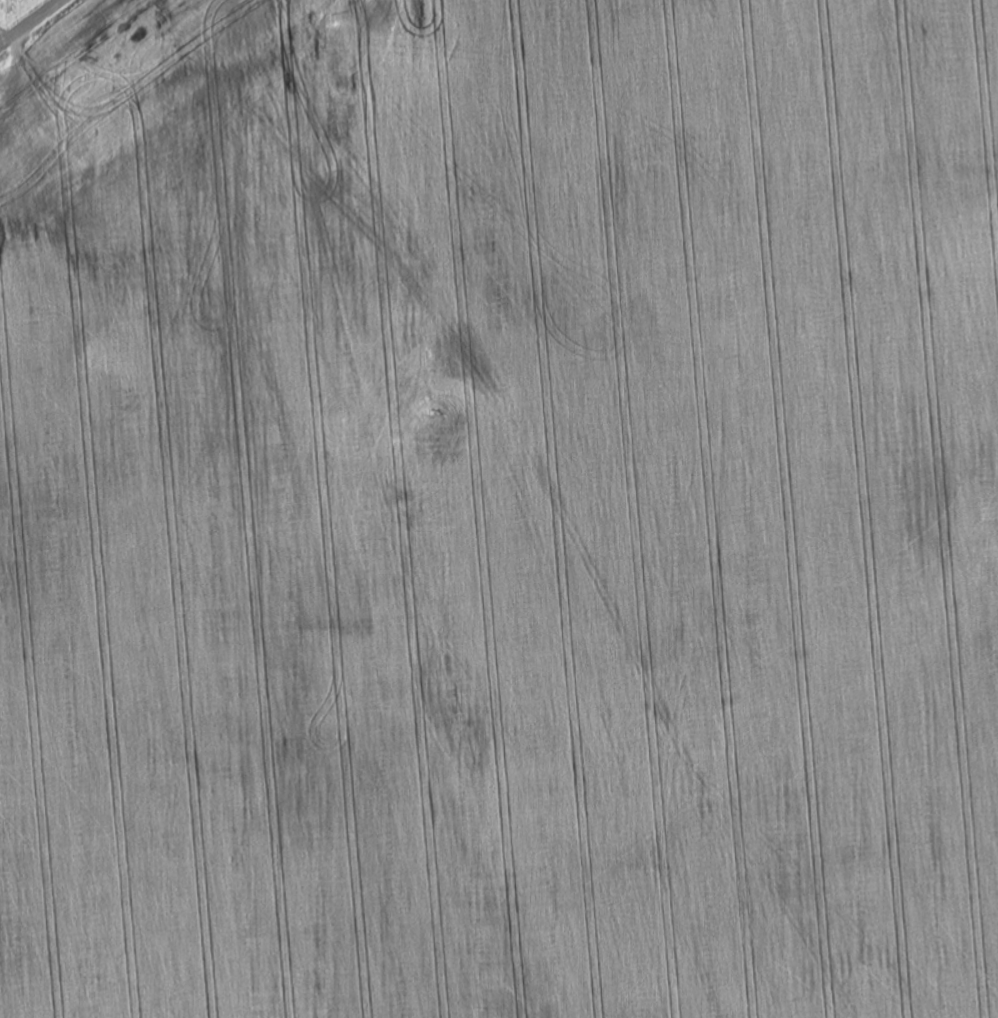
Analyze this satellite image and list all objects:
road: (31, 22)

